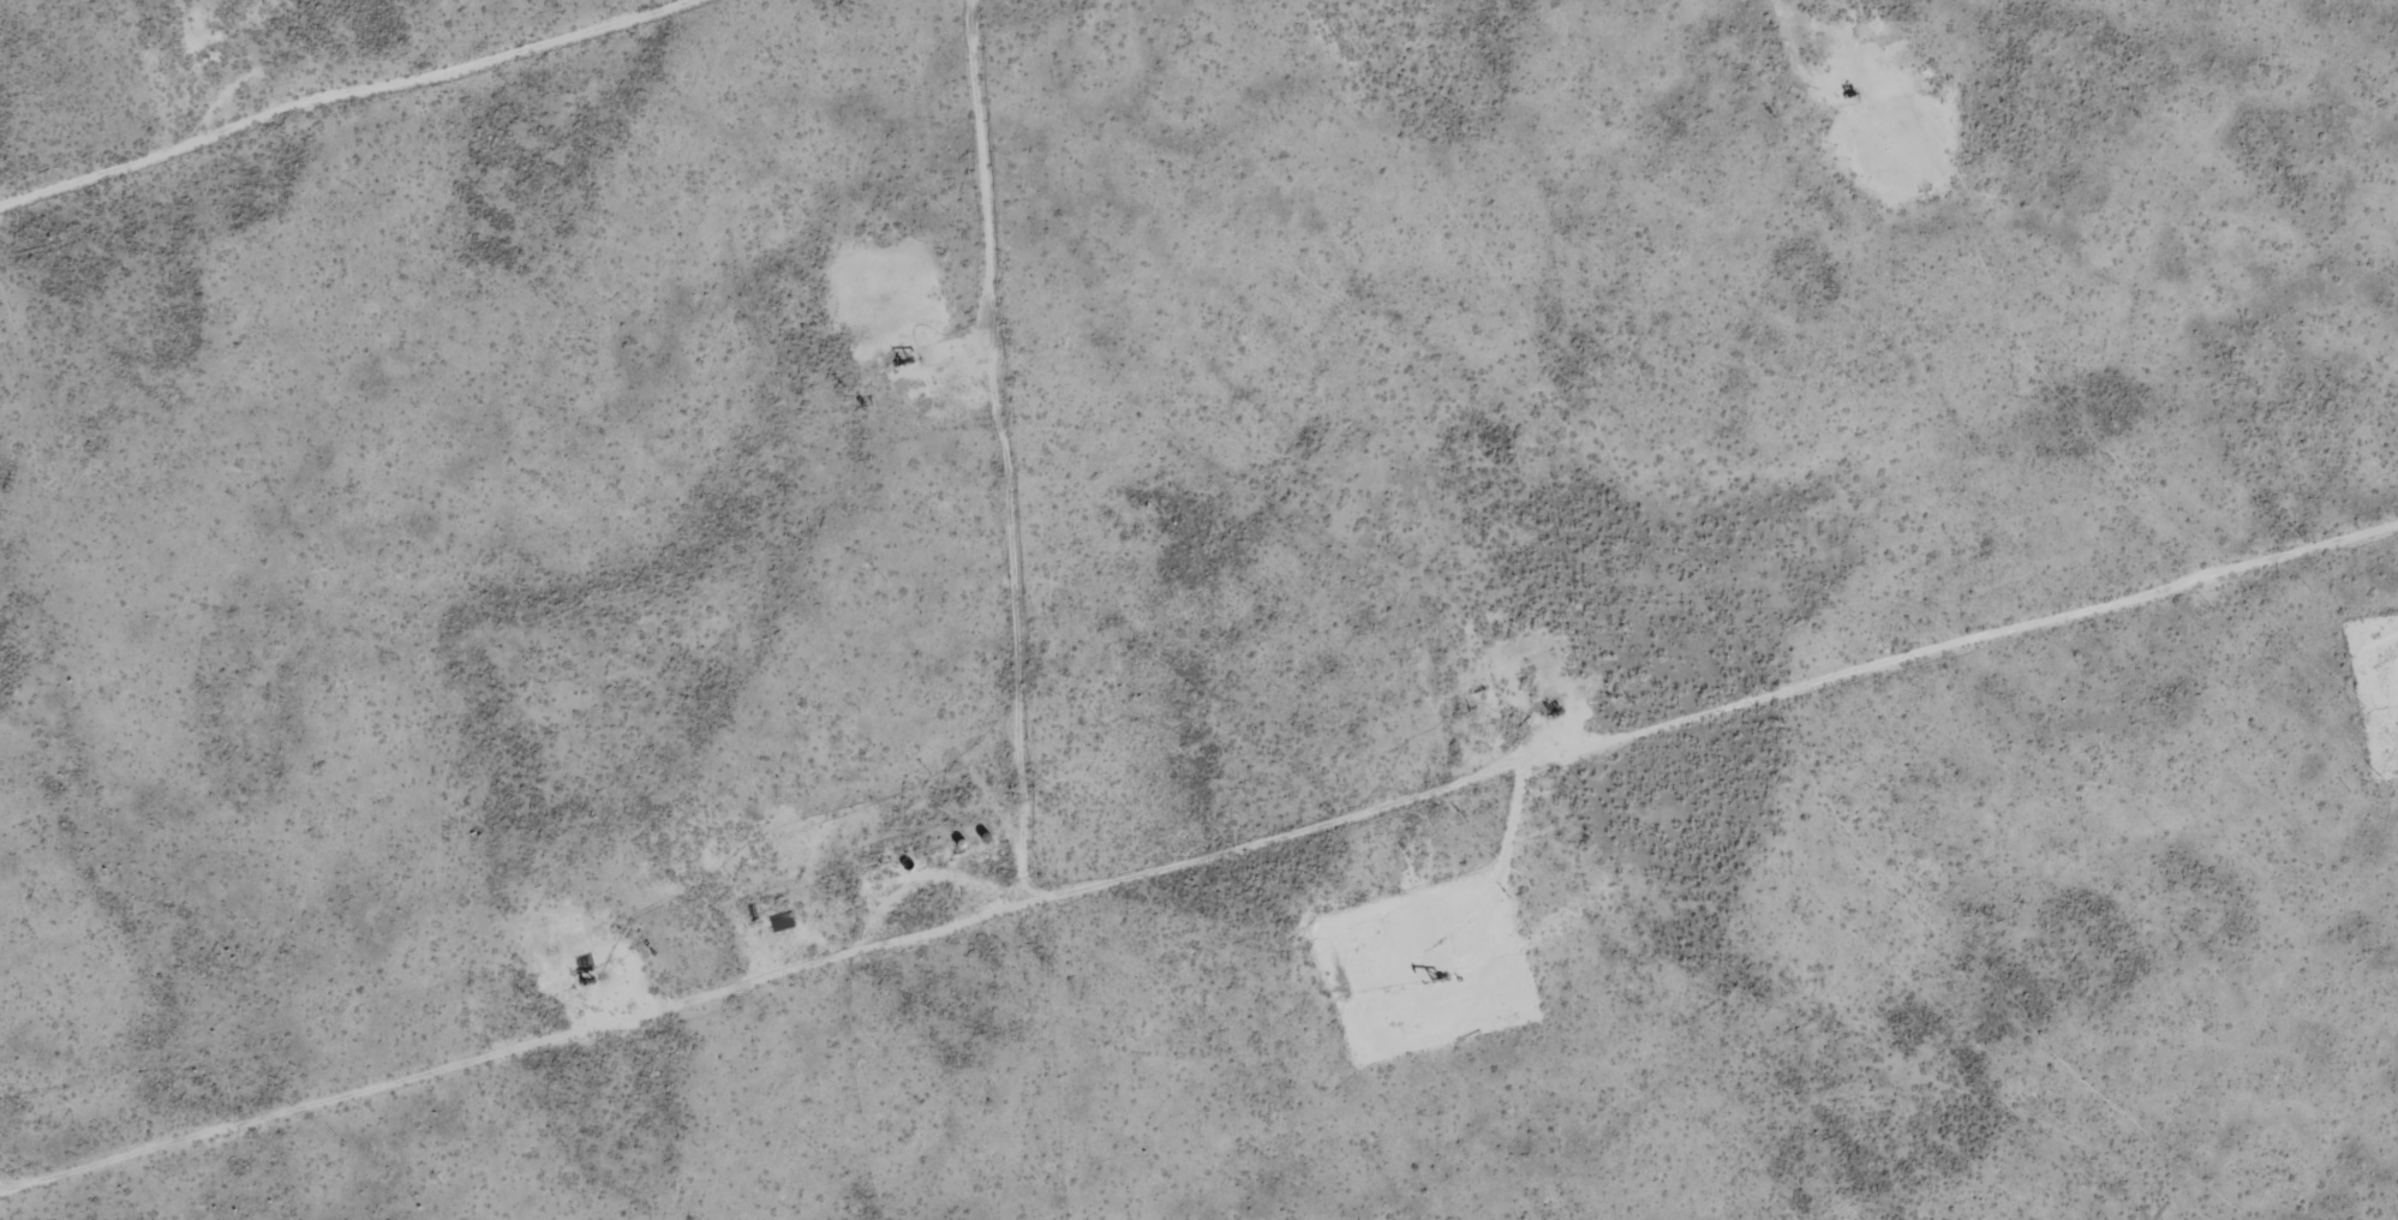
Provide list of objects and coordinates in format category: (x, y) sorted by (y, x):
road: (490, 142)
road: (1280, 908)
petroleum well: (1436, 977)

